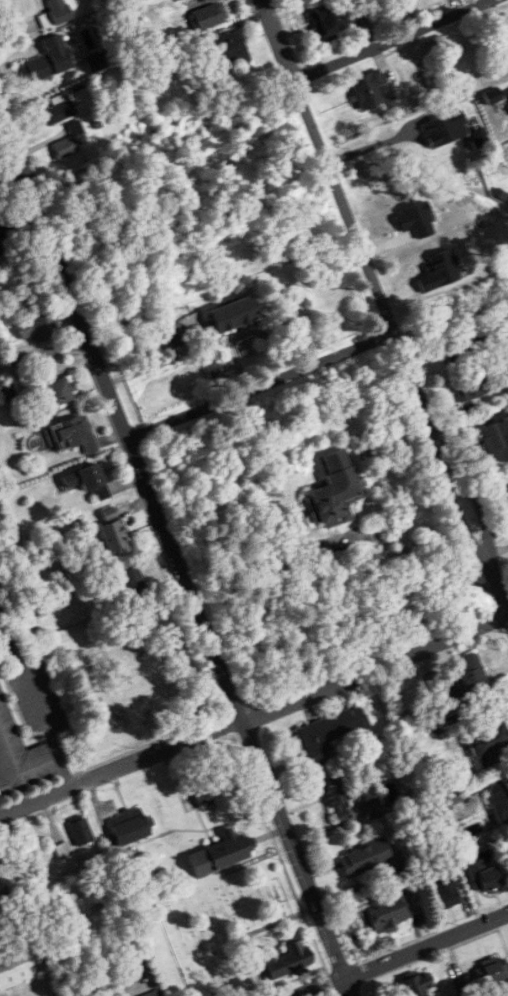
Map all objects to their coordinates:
building: (183, 0)
building: (55, 13)
building: (208, 16)
building: (507, 16)
building: (331, 20)
building: (507, 28)
road: (391, 38)
building: (228, 48)
building: (419, 52)
building: (37, 68)
building: (369, 88)
building: (65, 148)
road: (15, 194)
building: (6, 236)
road: (26, 252)
road: (385, 305)
building: (232, 314)
building: (39, 328)
building: (464, 346)
road: (46, 352)
road: (264, 385)
building: (471, 388)
building: (57, 391)
building: (74, 434)
building: (497, 437)
building: (87, 482)
building: (506, 485)
building: (335, 491)
building: (113, 533)
road: (179, 554)
building: (134, 583)
building: (468, 680)
road: (39, 706)
road: (254, 717)
building: (330, 732)
building: (488, 743)
building: (20, 756)
building: (220, 792)
building: (338, 799)
building: (500, 802)
building: (129, 825)
building: (81, 830)
building: (218, 854)
building: (364, 858)
building: (484, 877)
building: (445, 892)
building: (0, 907)
building: (385, 914)
park: (219, 929)
road: (403, 953)
building: (287, 958)
building: (27, 960)
building: (492, 974)
building: (417, 985)
building: (152, 993)

